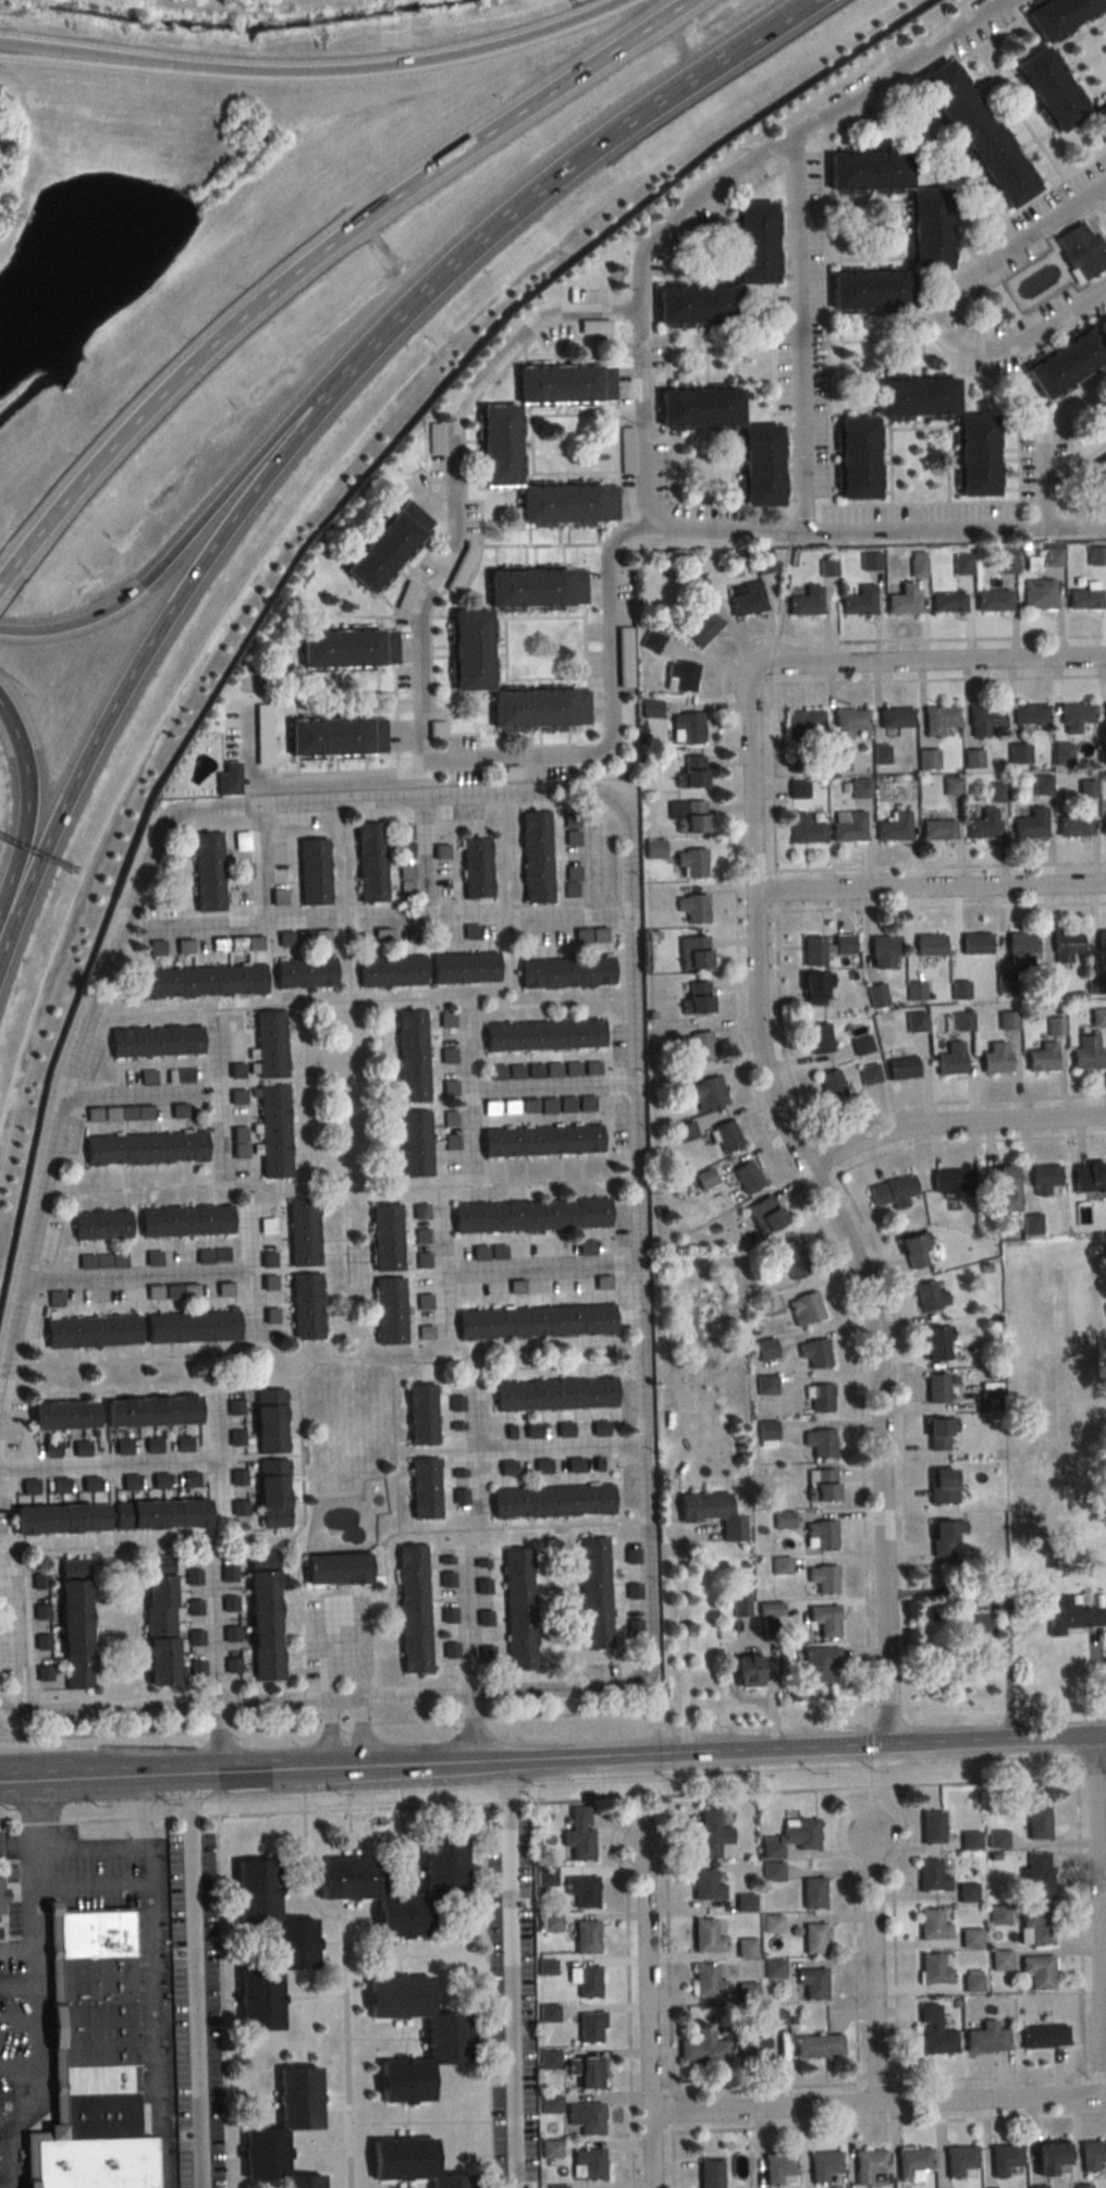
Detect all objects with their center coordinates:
building: (1058, 14)
road: (3, 42)
road: (89, 53)
road: (397, 61)
building: (1048, 89)
building: (1099, 116)
building: (975, 134)
road: (789, 138)
road: (465, 144)
road: (549, 183)
building: (927, 230)
building: (753, 243)
building: (1081, 249)
building: (869, 291)
road: (941, 310)
road: (799, 333)
building: (1066, 365)
building: (565, 384)
road: (641, 426)
road: (119, 428)
building: (499, 445)
building: (974, 456)
building: (855, 458)
building: (759, 467)
building: (1099, 472)
road: (452, 479)
road: (230, 494)
road: (875, 532)
building: (385, 545)
building: (1007, 561)
building: (961, 563)
building: (534, 588)
building: (1039, 594)
building: (904, 599)
building: (1084, 599)
building: (748, 600)
building: (993, 600)
building: (859, 601)
building: (806, 602)
building: (948, 602)
road: (75, 619)
building: (700, 626)
building: (651, 642)
road: (145, 647)
building: (347, 649)
building: (468, 650)
road: (930, 664)
building: (680, 677)
building: (538, 709)
building: (650, 710)
building: (230, 712)
building: (1031, 714)
building: (896, 717)
building: (1074, 717)
road: (607, 720)
building: (939, 720)
building: (984, 720)
building: (848, 722)
road: (12, 725)
building: (687, 727)
building: (334, 736)
building: (801, 737)
building: (262, 753)
building: (1062, 753)
building: (927, 759)
building: (838, 760)
building: (691, 772)
building: (228, 779)
road: (306, 782)
building: (1042, 785)
building: (860, 788)
building: (1087, 788)
building: (799, 789)
building: (997, 792)
building: (689, 816)
building: (1031, 824)
building: (848, 825)
building: (985, 825)
building: (1104, 825)
building: (1074, 826)
building: (895, 827)
building: (806, 828)
building: (937, 829)
road: (26, 832)
building: (570, 838)
building: (239, 840)
building: (404, 840)
building: (653, 849)
road: (589, 853)
building: (534, 857)
road: (425, 859)
building: (369, 862)
building: (691, 863)
road: (263, 864)
building: (475, 868)
building: (206, 872)
building: (312, 872)
building: (406, 876)
building: (572, 881)
road: (929, 889)
building: (692, 911)
road: (576, 917)
road: (426, 918)
road: (239, 921)
road: (5, 929)
building: (1102, 941)
building: (976, 944)
building: (1021, 944)
building: (843, 945)
building: (930, 945)
building: (1066, 945)
building: (812, 951)
building: (883, 951)
building: (692, 952)
building: (463, 969)
building: (389, 972)
building: (303, 973)
building: (564, 973)
building: (200, 982)
building: (1050, 983)
building: (814, 988)
building: (917, 991)
road: (98, 993)
building: (877, 995)
building: (695, 998)
building: (1098, 1018)
building: (446, 1020)
building: (1009, 1020)
building: (962, 1021)
building: (915, 1022)
building: (1055, 1027)
building: (541, 1035)
building: (819, 1038)
building: (153, 1041)
building: (269, 1044)
building: (861, 1045)
building: (699, 1046)
building: (1086, 1053)
building: (410, 1056)
building: (995, 1057)
building: (1042, 1058)
building: (950, 1059)
building: (901, 1068)
building: (869, 1073)
road: (550, 1085)
building: (831, 1086)
road: (467, 1090)
building: (706, 1094)
road: (139, 1095)
road: (219, 1097)
road: (951, 1126)
building: (273, 1132)
building: (684, 1132)
building: (725, 1135)
building: (540, 1141)
building: (238, 1142)
building: (414, 1144)
building: (143, 1148)
building: (1089, 1177)
building: (746, 1178)
building: (704, 1179)
building: (1045, 1181)
building: (953, 1182)
building: (999, 1185)
building: (892, 1191)
road: (826, 1206)
building: (419, 1213)
building: (764, 1215)
building: (529, 1216)
building: (183, 1221)
building: (99, 1226)
building: (302, 1233)
building: (420, 1236)
building: (384, 1238)
building: (913, 1252)
building: (211, 1256)
building: (421, 1261)
building: (789, 1261)
road: (442, 1265)
road: (540, 1271)
road: (253, 1274)
road: (138, 1276)
building: (929, 1296)
building: (423, 1303)
building: (770, 1305)
building: (305, 1307)
building: (804, 1308)
building: (388, 1312)
building: (533, 1323)
building: (189, 1327)
building: (89, 1332)
building: (932, 1344)
building: (764, 1349)
building: (814, 1352)
building: (765, 1385)
building: (935, 1389)
building: (553, 1393)
building: (820, 1398)
building: (986, 1401)
building: (234, 1408)
building: (149, 1412)
building: (420, 1414)
building: (60, 1416)
building: (268, 1422)
building: (564, 1429)
building: (531, 1430)
building: (938, 1434)
building: (236, 1437)
building: (819, 1441)
building: (182, 1445)
road: (476, 1449)
road: (560, 1450)
road: (642, 1455)
road: (218, 1460)
road: (109, 1464)
building: (574, 1464)
building: (541, 1465)
building: (238, 1477)
building: (188, 1479)
building: (159, 1480)
building: (128, 1483)
building: (820, 1485)
building: (941, 1485)
building: (58, 1486)
building: (422, 1488)
building: (270, 1494)
building: (459, 1496)
building: (550, 1501)
building: (710, 1512)
building: (159, 1515)
building: (59, 1521)
building: (820, 1535)
building: (943, 1536)
building: (334, 1569)
building: (822, 1578)
building: (592, 1591)
building: (411, 1608)
building: (518, 1608)
building: (262, 1615)
building: (1070, 1615)
building: (975, 1618)
building: (823, 1620)
building: (157, 1621)
road: (466, 1623)
building: (73, 1624)
road: (22, 1637)
road: (681, 1644)
building: (818, 1663)
road: (213, 1667)
building: (745, 1671)
road: (1005, 1674)
road: (469, 1728)
road: (357, 1734)
road: (331, 1735)
road: (787, 1746)
road: (869, 1759)
road: (373, 1765)
road: (249, 1769)
road: (205, 1771)
road: (162, 1772)
road: (67, 1777)
road: (1090, 1777)
road: (973, 1782)
road: (871, 1798)
road: (434, 1803)
building: (1035, 1823)
building: (930, 1827)
road: (37, 1829)
building: (577, 1833)
building: (709, 1834)
building: (788, 1837)
building: (968, 1839)
building: (996, 1839)
road: (611, 1841)
road: (122, 1843)
building: (771, 1871)
building: (346, 1874)
building: (930, 1874)
building: (1035, 1876)
road: (93, 1881)
building: (704, 1885)
building: (580, 1891)
building: (812, 1892)
building: (966, 1892)
building: (5, 1897)
building: (744, 1903)
road: (34, 1908)
road: (1096, 1916)
building: (931, 1925)
road: (1080, 1926)
building: (1033, 1927)
building: (585, 1937)
building: (705, 1937)
building: (812, 1938)
building: (290, 1944)
building: (745, 1947)
building: (545, 1967)
building: (772, 1968)
building: (933, 1968)
road: (872, 1970)
building: (1036, 1971)
road: (511, 1972)
road: (194, 1979)
building: (585, 1981)
building: (706, 1981)
building: (811, 1982)
road: (17, 1986)
road: (647, 2013)
road: (155, 2014)
road: (19, 2017)
building: (774, 2018)
building: (589, 2028)
building: (933, 2032)
building: (1042, 2037)
building: (984, 2038)
building: (443, 2039)
building: (816, 2046)
building: (702, 2049)
building: (753, 2049)
building: (91, 2060)
road: (20, 2062)
building: (586, 2069)
road: (39, 2073)
road: (1095, 2073)
road: (992, 2077)
road: (876, 2080)
road: (763, 2086)
road: (876, 2105)
road: (673, 2110)
road: (15, 2111)
building: (585, 2117)
road: (890, 2121)
building: (282, 2129)
road: (7, 2151)
building: (1093, 2156)
building: (1048, 2158)
road: (675, 2159)
building: (1003, 2159)
building: (957, 2160)
building: (407, 2162)
building: (911, 2162)
building: (587, 2164)
building: (867, 2165)
building: (823, 2167)
building: (777, 2168)
building: (709, 2174)
building: (1081, 2186)
building: (556, 2187)
building: (1036, 2187)

